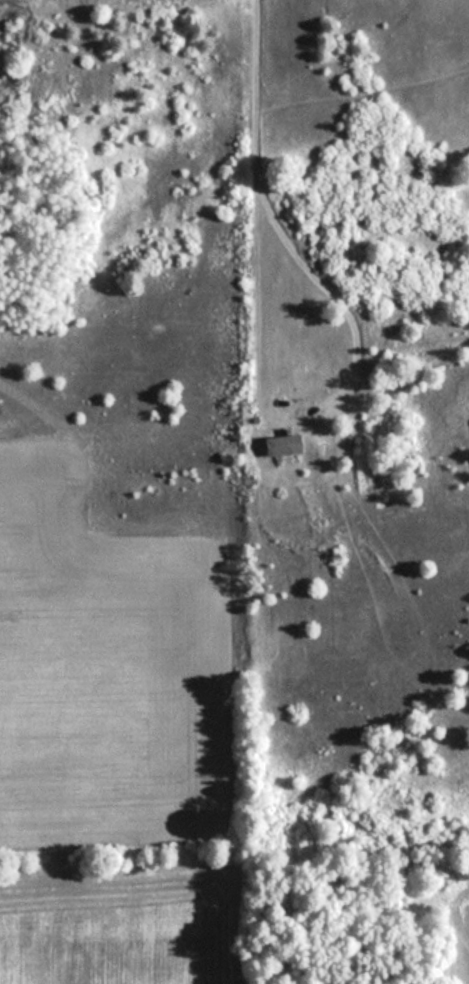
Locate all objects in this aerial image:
building: (276, 445)

